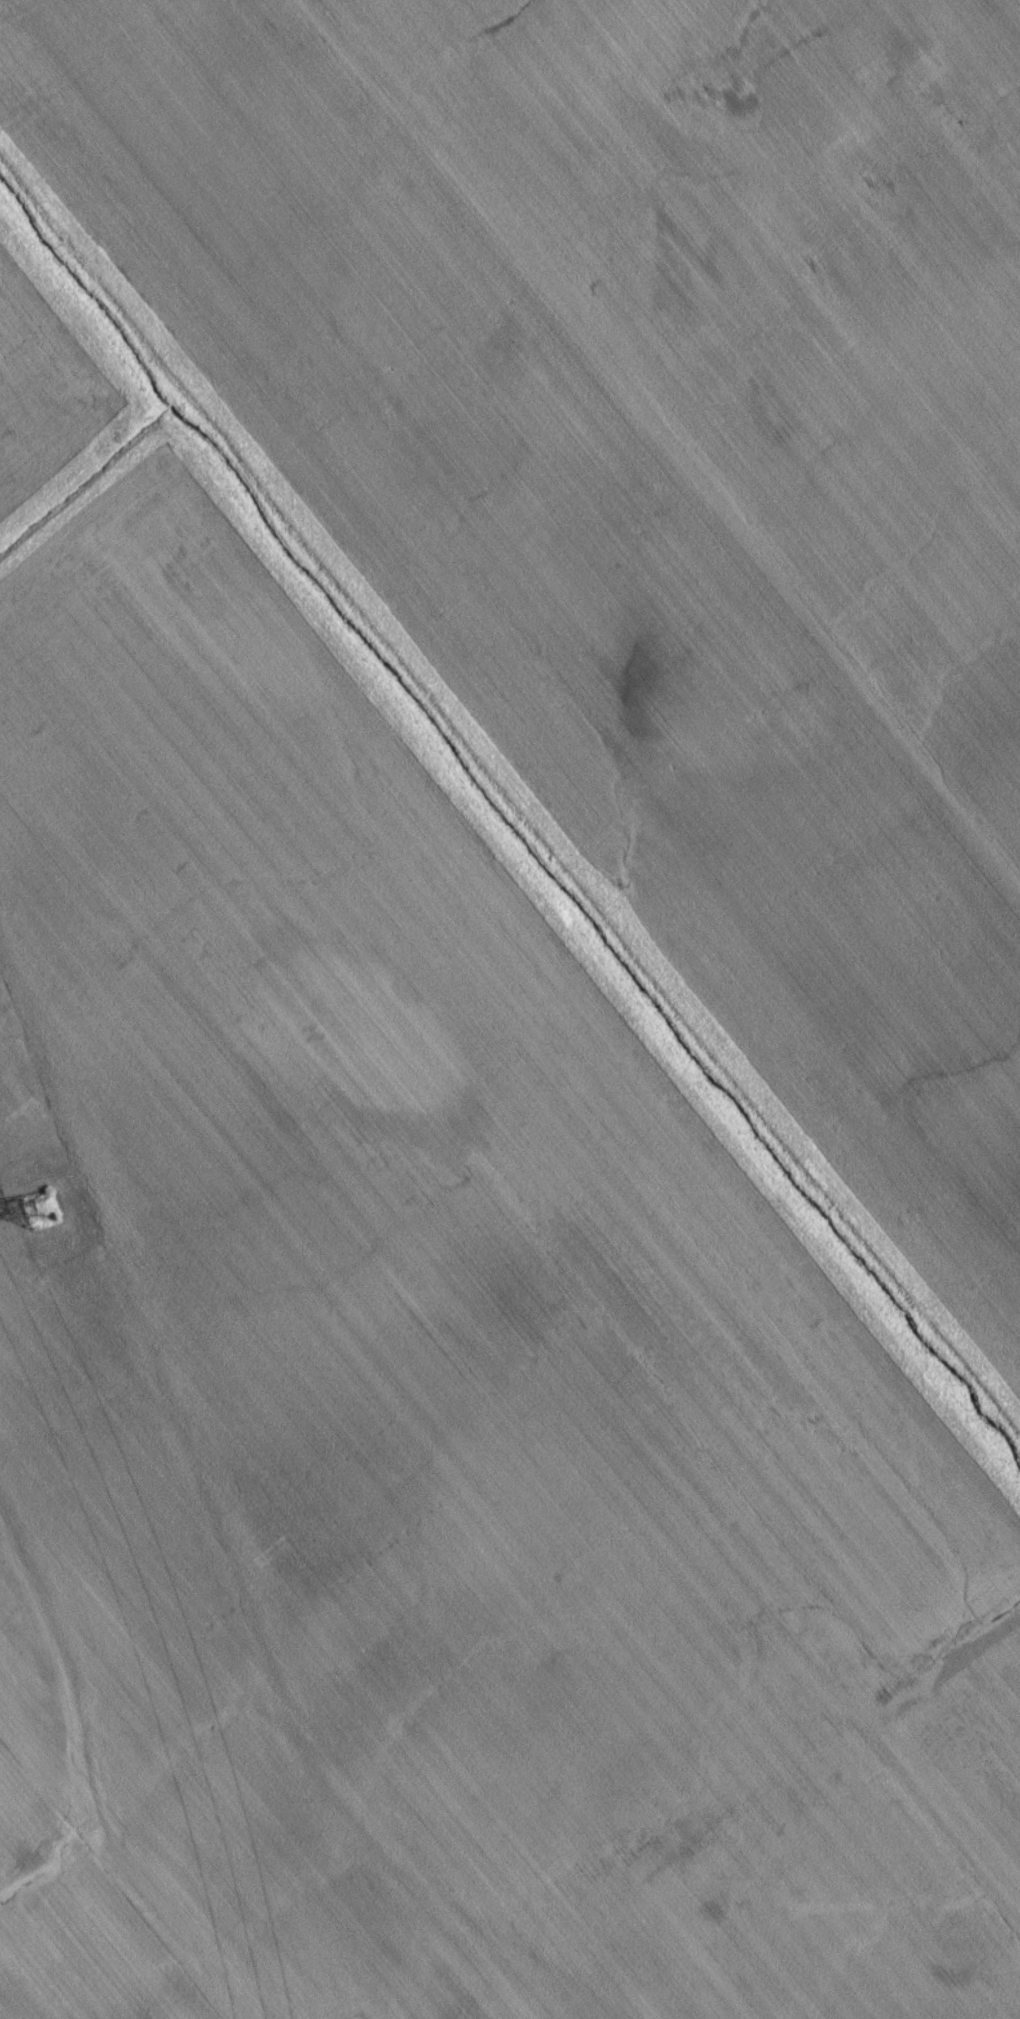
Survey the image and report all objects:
power tower: (39, 1210)

